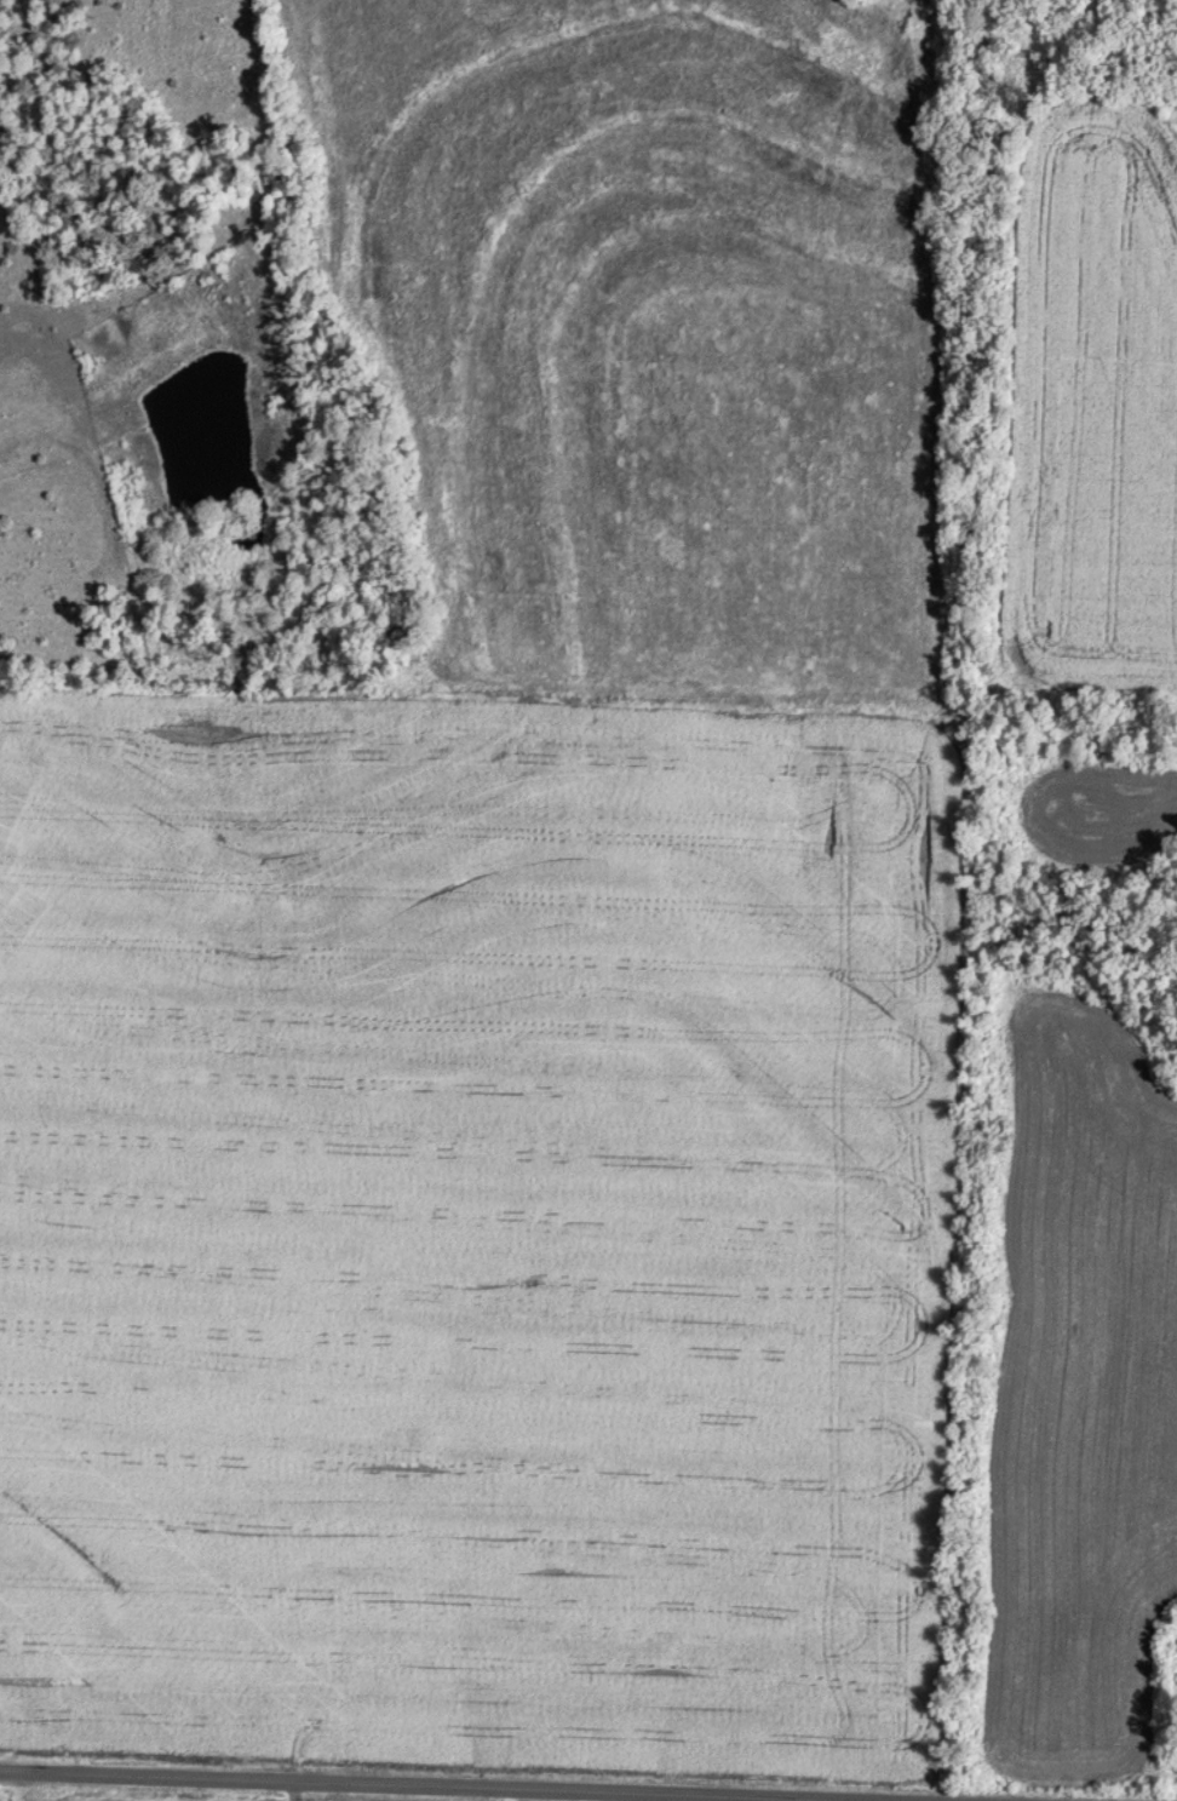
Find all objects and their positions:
road: (467, 1785)

